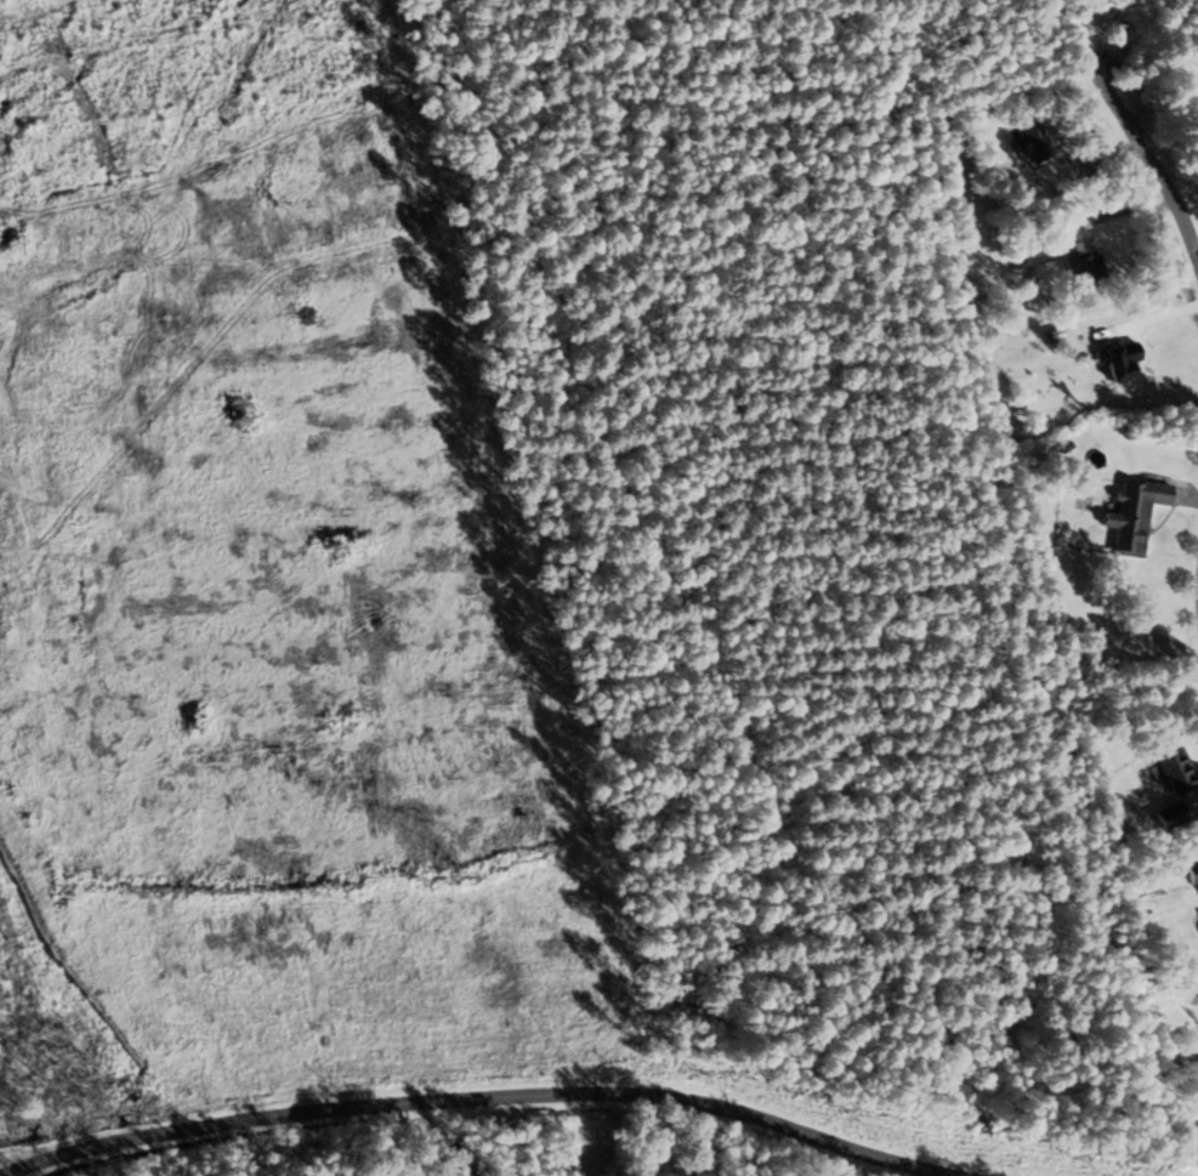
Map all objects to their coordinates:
building: (1032, 140)
road: (1141, 146)
building: (1085, 267)
building: (1139, 515)
building: (1179, 771)
building: (1173, 816)
building: (1193, 875)
road: (471, 1107)
building: (645, 1149)

